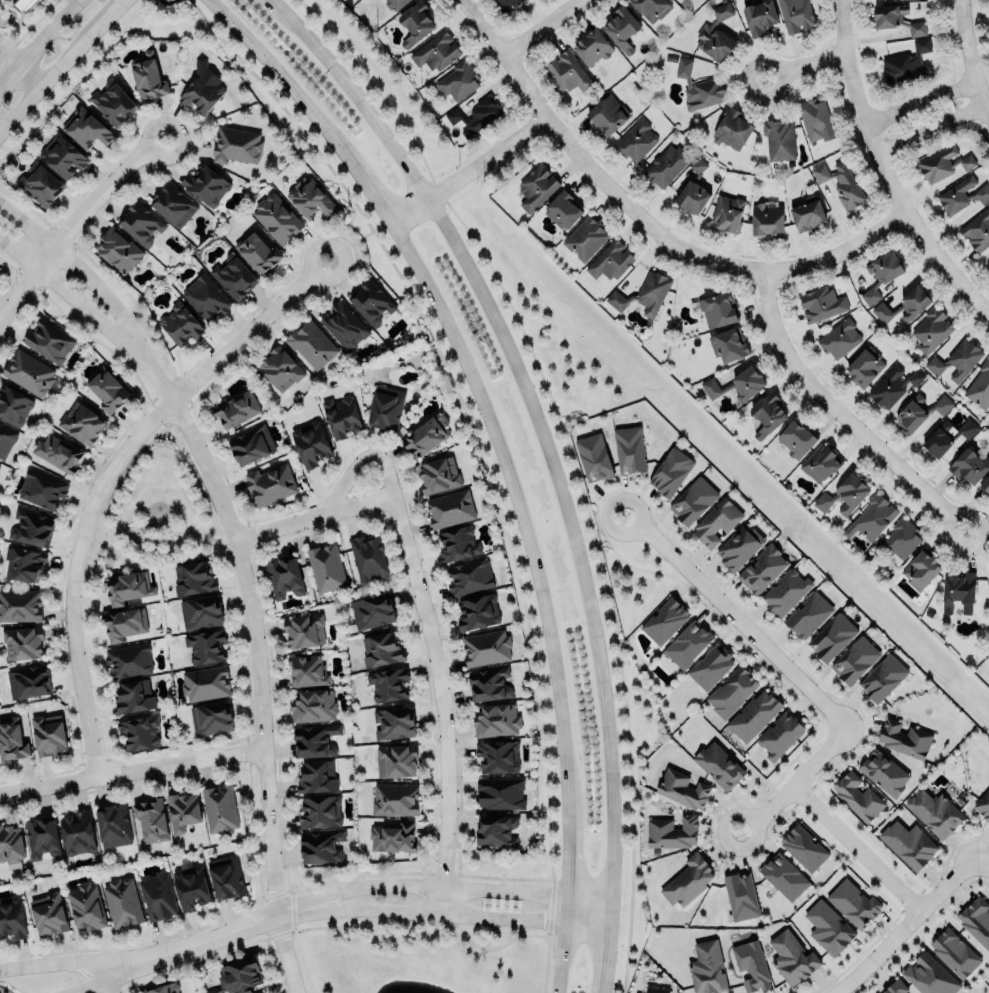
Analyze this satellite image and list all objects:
building: (396, 4)
building: (505, 5)
building: (22, 6)
building: (651, 8)
road: (114, 11)
building: (796, 15)
building: (760, 17)
building: (895, 18)
building: (414, 24)
road: (537, 25)
road: (981, 25)
building: (622, 29)
building: (716, 35)
road: (40, 41)
building: (591, 47)
building: (436, 51)
road: (968, 59)
road: (759, 61)
building: (905, 62)
road: (21, 65)
building: (567, 73)
road: (51, 77)
building: (147, 77)
building: (458, 81)
road: (76, 83)
building: (699, 87)
building: (202, 90)
road: (919, 99)
building: (113, 103)
building: (475, 115)
building: (607, 115)
building: (815, 118)
building: (85, 128)
road: (930, 128)
building: (731, 129)
building: (778, 139)
building: (635, 140)
building: (236, 145)
building: (62, 156)
building: (943, 164)
building: (666, 165)
road: (886, 168)
road: (466, 170)
building: (841, 184)
building: (41, 185)
building: (205, 185)
building: (535, 187)
building: (692, 190)
building: (961, 195)
building: (310, 198)
building: (173, 204)
building: (562, 210)
building: (726, 212)
building: (808, 215)
building: (277, 218)
road: (646, 218)
building: (766, 218)
building: (140, 223)
road: (73, 226)
building: (977, 231)
building: (585, 238)
building: (119, 251)
building: (257, 252)
building: (610, 261)
building: (987, 262)
building: (882, 274)
building: (234, 276)
road: (84, 277)
building: (642, 294)
building: (206, 297)
building: (370, 302)
building: (821, 303)
road: (75, 304)
building: (903, 306)
building: (718, 310)
building: (180, 324)
building: (344, 326)
building: (931, 330)
building: (839, 338)
building: (49, 340)
building: (312, 344)
building: (728, 345)
building: (956, 361)
building: (864, 366)
building: (280, 368)
building: (28, 372)
building: (736, 382)
building: (894, 385)
building: (980, 387)
building: (108, 390)
building: (13, 406)
building: (386, 407)
building: (236, 409)
road: (843, 412)
building: (918, 412)
building: (767, 414)
building: (340, 416)
building: (82, 423)
building: (426, 436)
building: (947, 437)
building: (795, 439)
building: (6, 440)
building: (311, 444)
building: (251, 445)
building: (629, 450)
building: (58, 453)
road: (480, 455)
road: (499, 455)
building: (593, 457)
road: (549, 459)
road: (360, 461)
building: (821, 464)
building: (969, 467)
building: (670, 472)
building: (438, 475)
road: (107, 476)
building: (985, 483)
building: (270, 484)
building: (41, 490)
building: (844, 495)
building: (692, 500)
building: (451, 508)
building: (871, 518)
road: (313, 519)
building: (716, 522)
building: (32, 528)
building: (900, 539)
building: (458, 543)
building: (737, 547)
building: (368, 558)
building: (23, 565)
building: (326, 568)
building: (762, 569)
building: (920, 570)
building: (469, 576)
building: (284, 577)
building: (192, 578)
building: (128, 587)
building: (785, 592)
building: (959, 592)
building: (20, 606)
building: (372, 611)
building: (201, 612)
building: (477, 612)
building: (808, 615)
road: (735, 618)
building: (664, 620)
building: (124, 623)
building: (304, 630)
building: (831, 637)
building: (23, 643)
building: (688, 644)
building: (205, 647)
building: (486, 648)
building: (381, 649)
building: (129, 660)
building: (855, 661)
building: (710, 667)
road: (258, 670)
building: (307, 670)
building: (883, 679)
building: (29, 682)
building: (205, 683)
building: (388, 684)
building: (490, 684)
building: (731, 691)
building: (132, 697)
road: (443, 704)
building: (313, 706)
building: (753, 714)
building: (211, 718)
building: (496, 721)
building: (393, 723)
building: (138, 733)
building: (49, 734)
building: (778, 735)
building: (903, 737)
building: (12, 740)
building: (314, 740)
building: (498, 756)
building: (398, 760)
building: (718, 765)
building: (883, 771)
road: (132, 772)
building: (317, 777)
road: (797, 783)
building: (682, 789)
building: (500, 793)
building: (857, 796)
building: (395, 799)
building: (983, 804)
building: (220, 809)
building: (182, 812)
building: (320, 812)
building: (935, 812)
building: (152, 819)
building: (113, 825)
building: (495, 831)
building: (671, 832)
building: (78, 833)
building: (42, 837)
building: (392, 837)
building: (10, 844)
building: (908, 844)
building: (803, 846)
building: (321, 847)
road: (857, 848)
road: (982, 861)
building: (783, 875)
building: (225, 877)
building: (688, 880)
building: (190, 888)
road: (450, 888)
building: (740, 895)
building: (157, 897)
road: (272, 898)
building: (123, 903)
building: (852, 903)
building: (86, 907)
road: (291, 914)
building: (49, 915)
road: (452, 915)
building: (12, 919)
building: (976, 919)
road: (905, 925)
road: (330, 927)
building: (828, 927)
road: (198, 942)
building: (954, 952)
building: (791, 958)
road: (50, 965)
building: (751, 965)
building: (707, 968)
building: (238, 975)
building: (929, 975)
road: (102, 982)
road: (87, 983)
building: (895, 987)
building: (163, 989)

